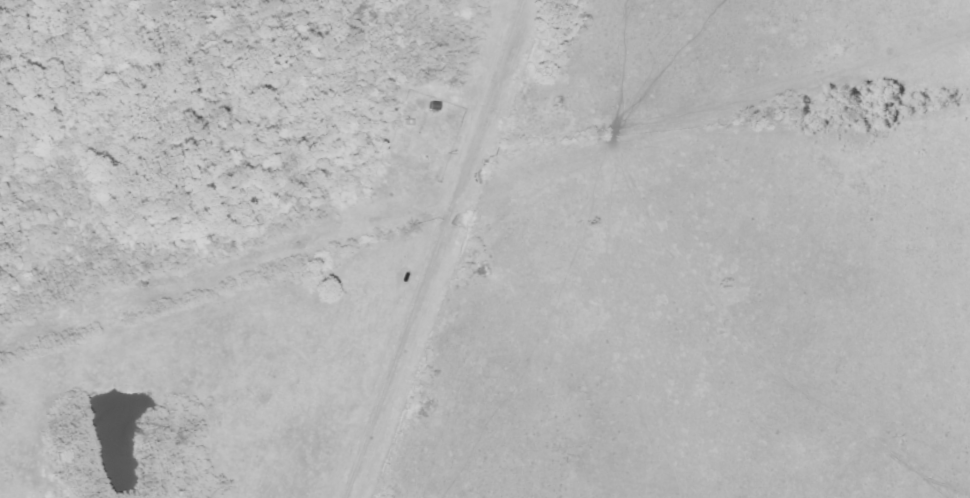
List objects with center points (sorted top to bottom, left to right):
road: (427, 247)
road: (342, 249)

